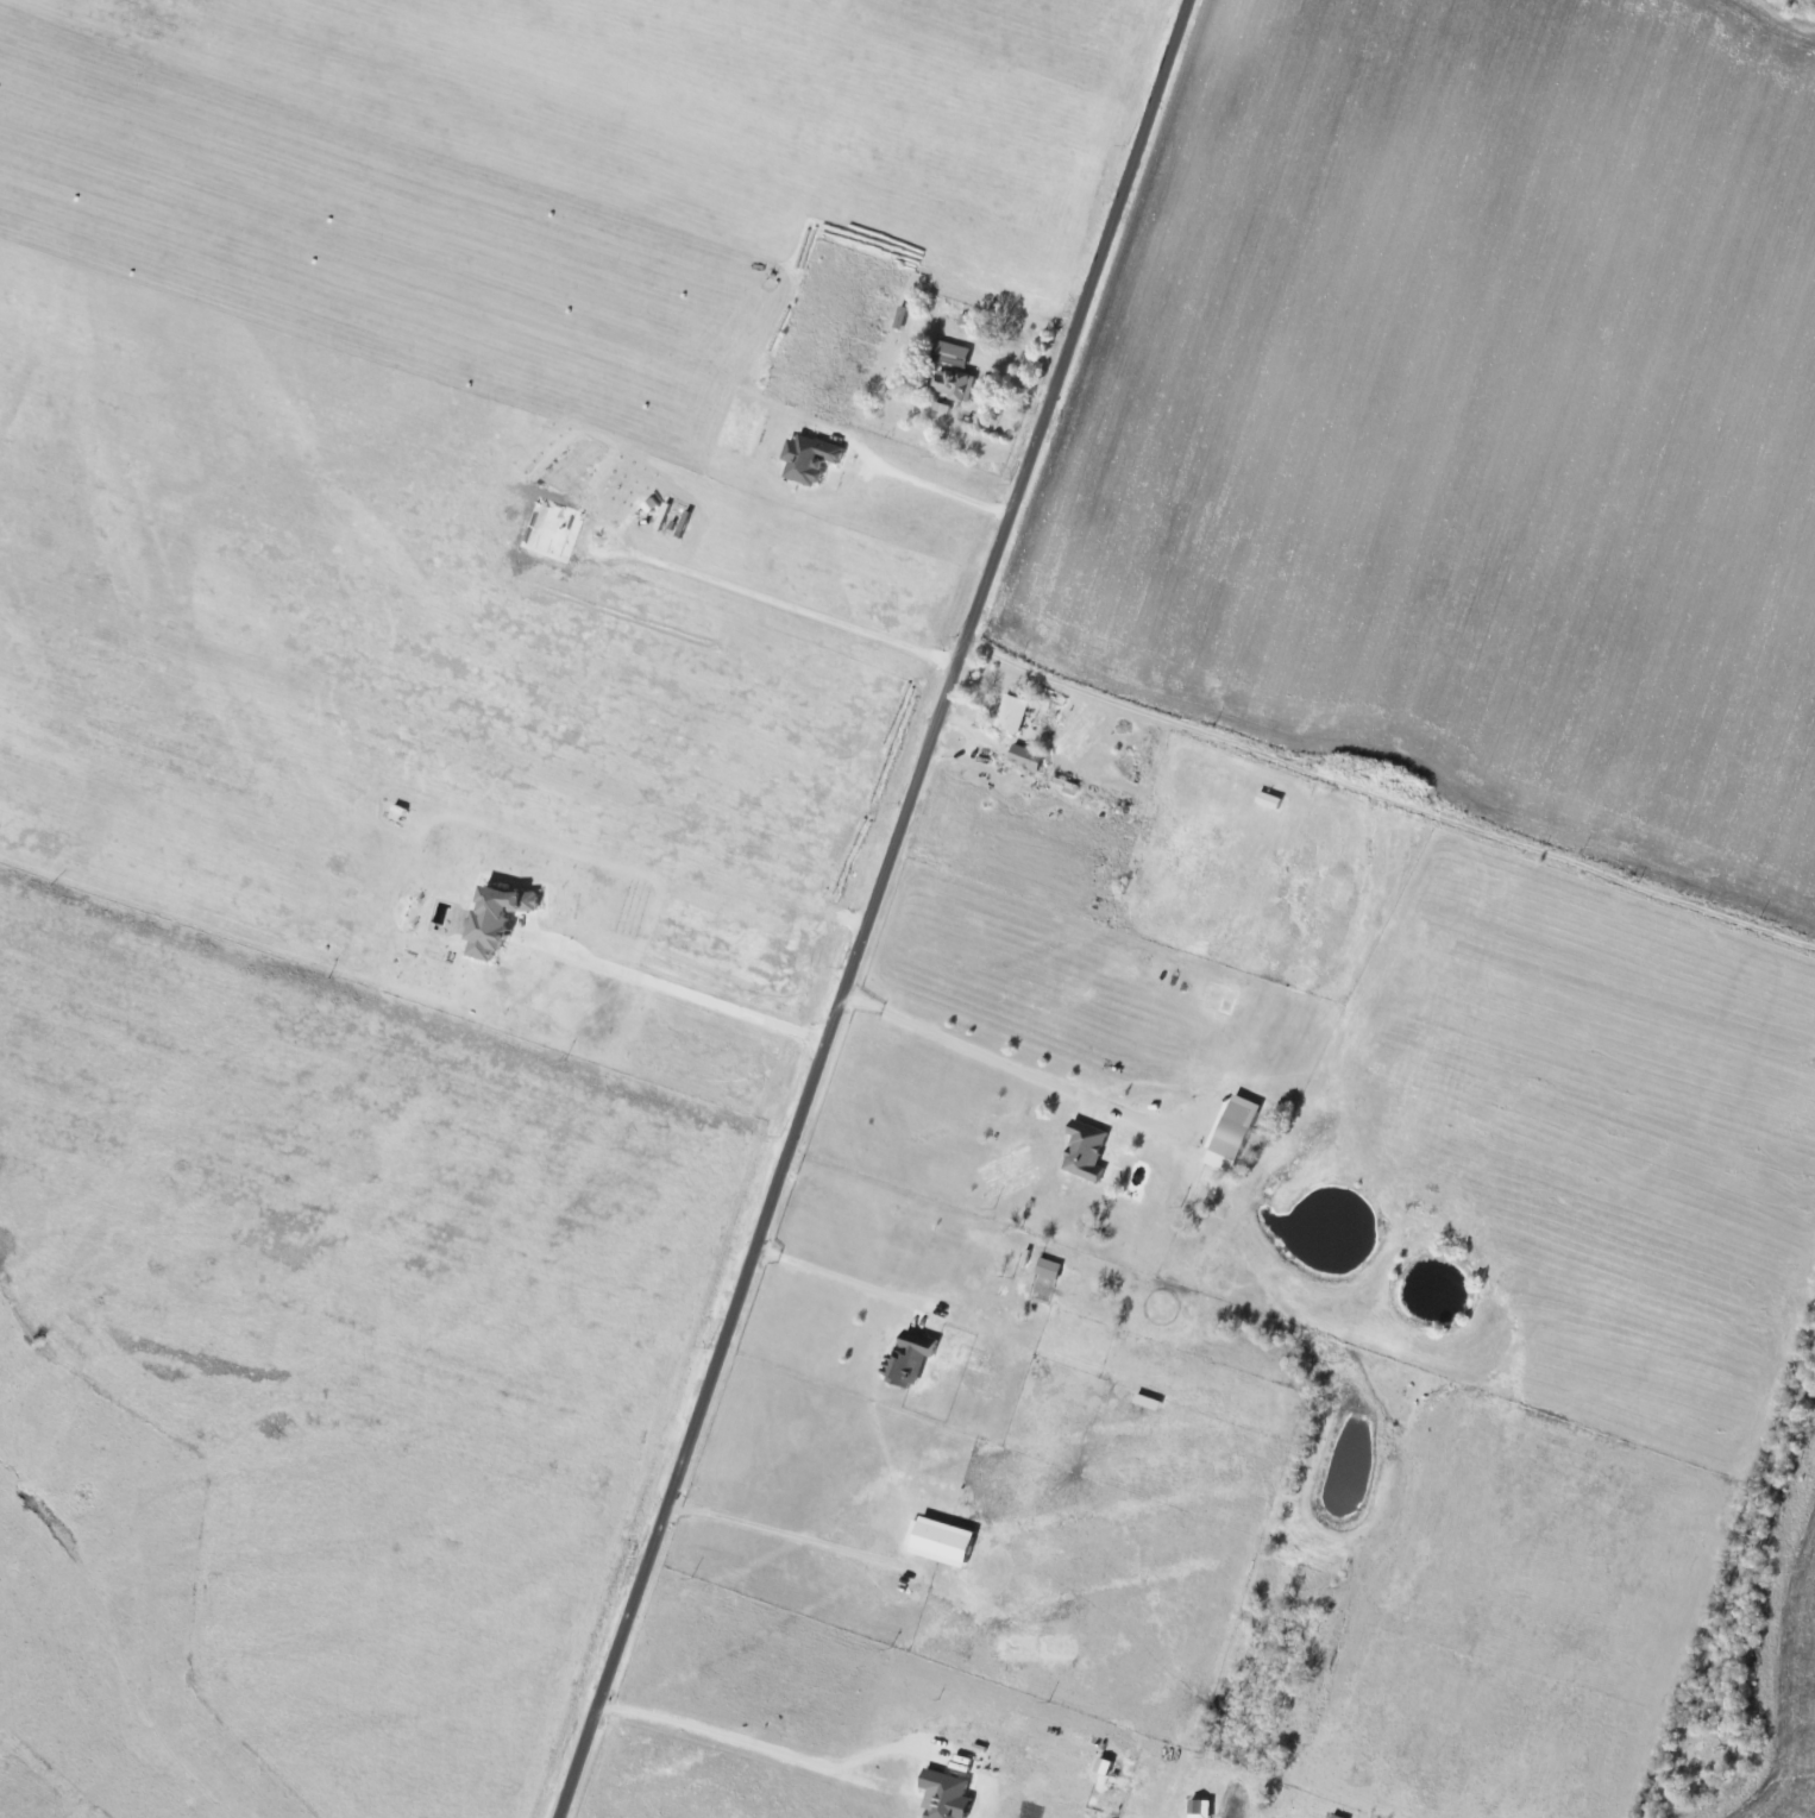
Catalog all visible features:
building: (950, 353)
building: (952, 385)
building: (806, 459)
road: (929, 486)
building: (554, 529)
building: (1010, 715)
building: (1024, 757)
road: (1390, 797)
road: (875, 908)
building: (489, 919)
road: (678, 1006)
road: (994, 1059)
building: (1230, 1133)
building: (1084, 1151)
building: (1047, 1269)
road: (843, 1281)
building: (906, 1358)
road: (787, 1535)
building: (937, 1542)
road: (739, 1756)
building: (943, 1795)

